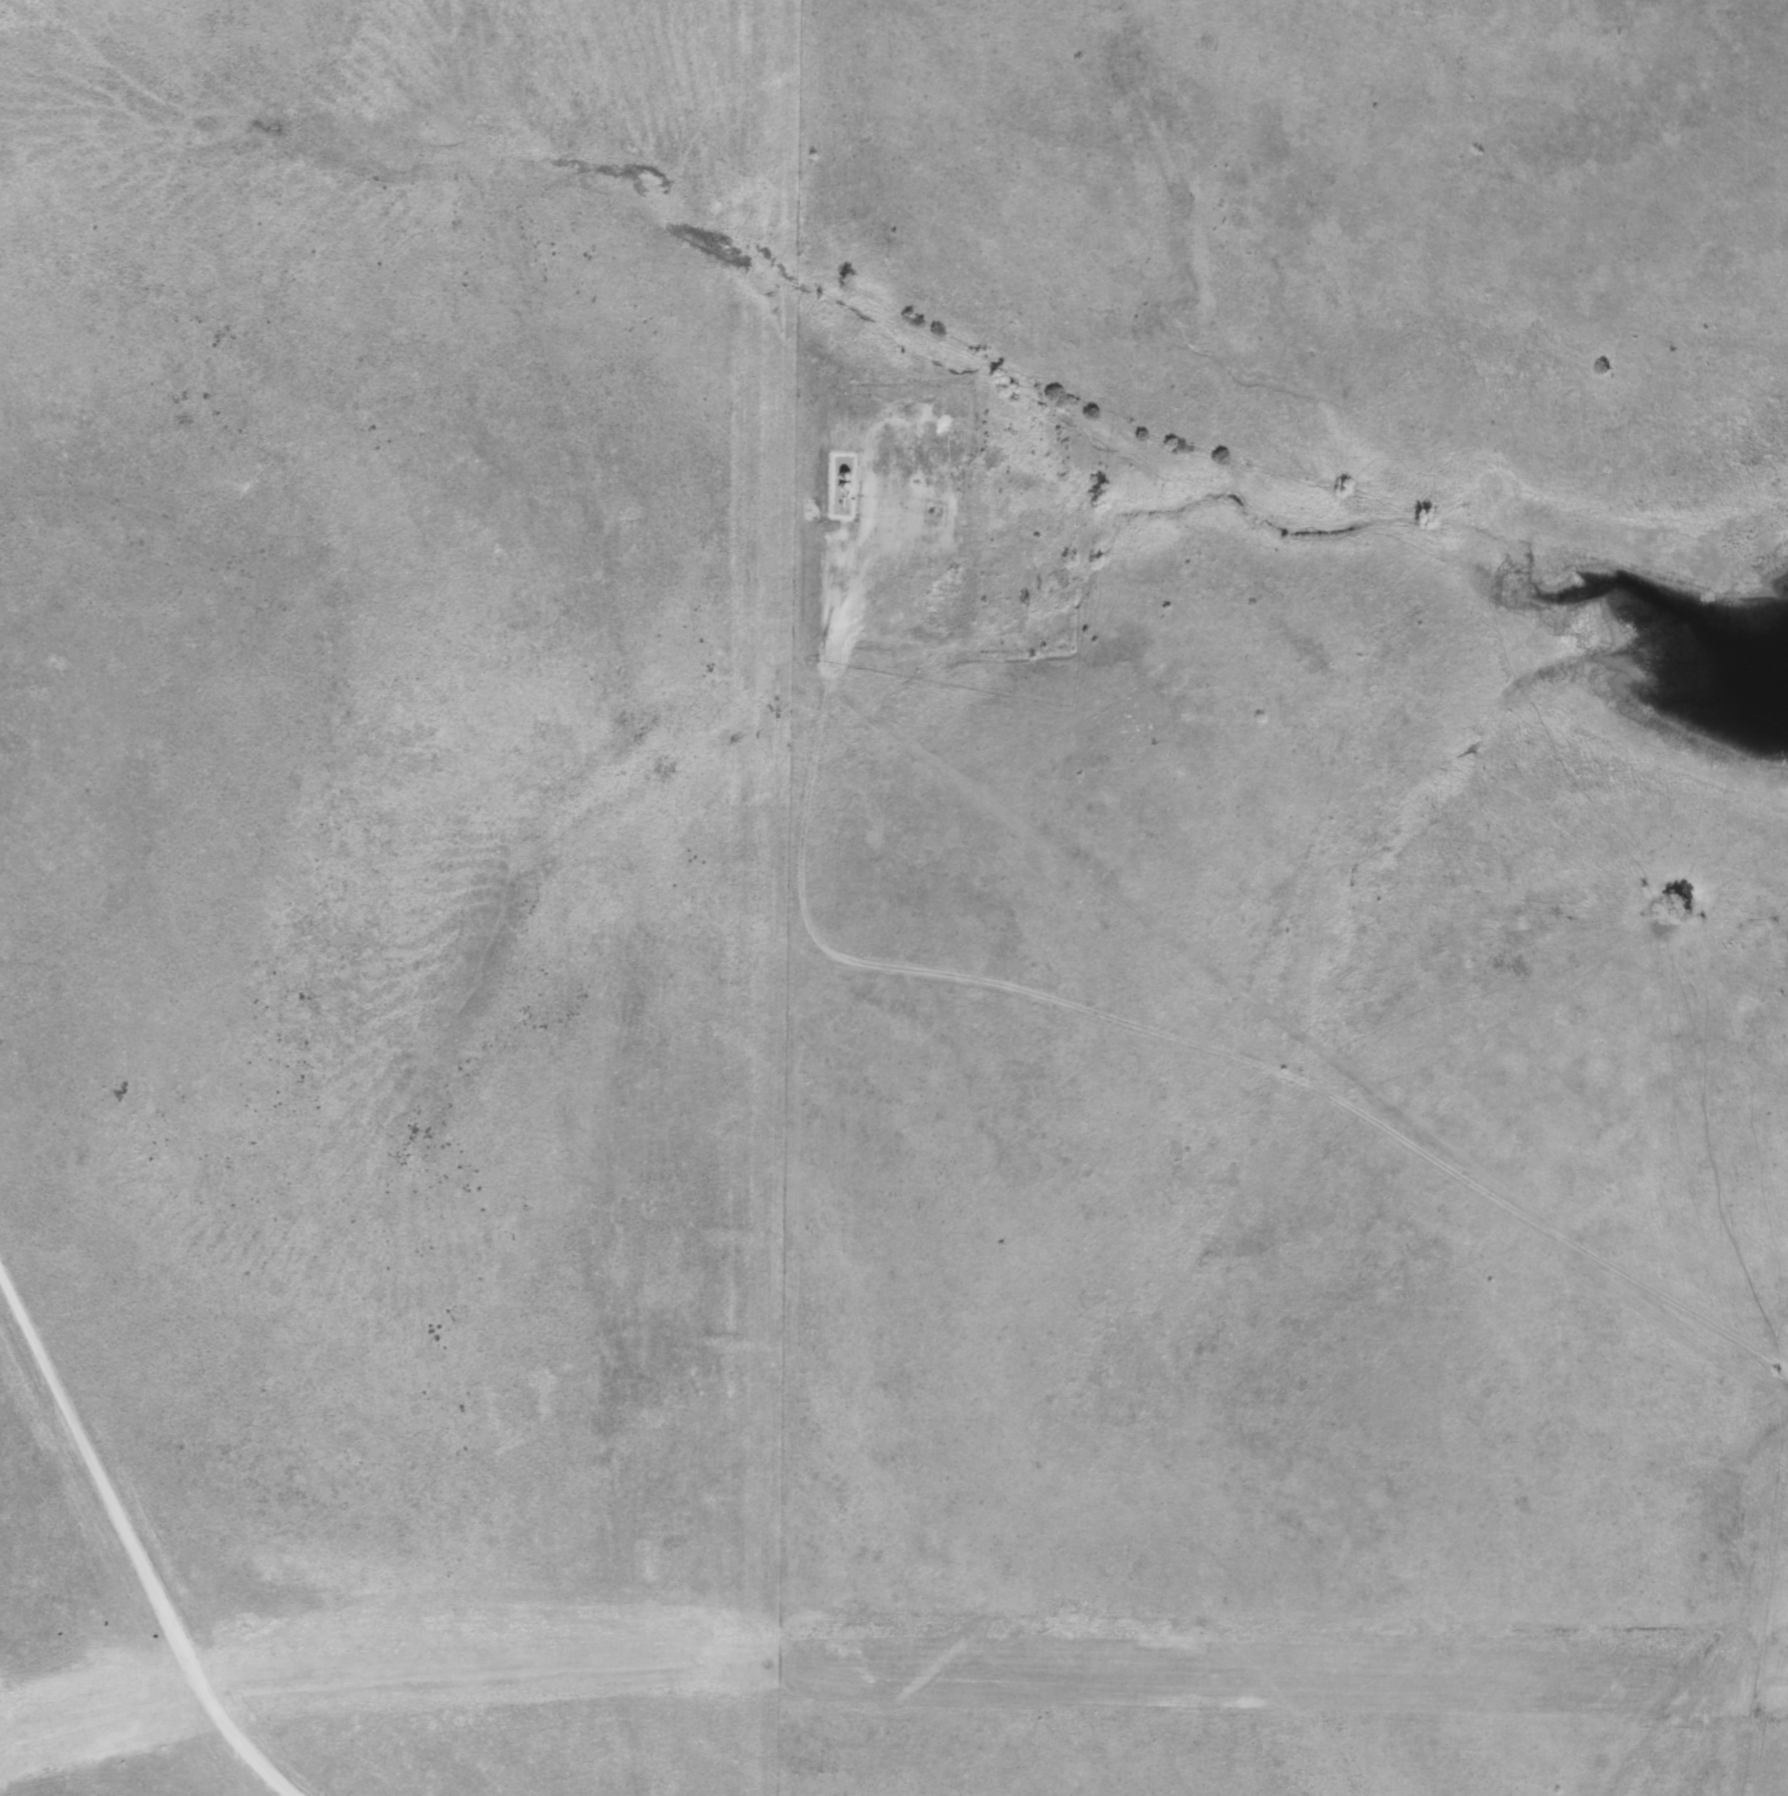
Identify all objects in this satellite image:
road: (134, 1547)

